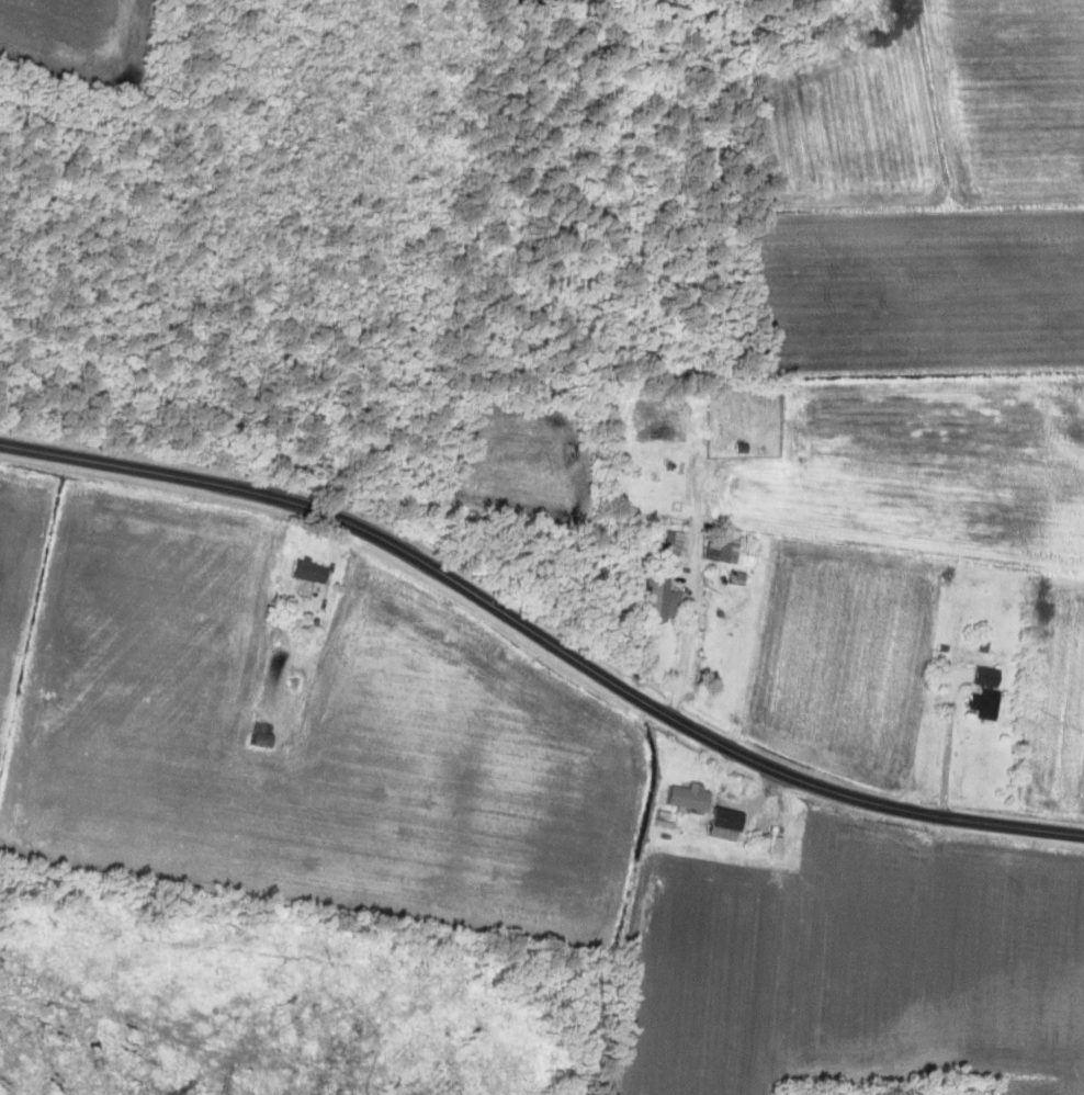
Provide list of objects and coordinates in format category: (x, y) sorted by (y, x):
building: (671, 544)
building: (726, 551)
building: (307, 571)
building: (659, 598)
road: (543, 637)
building: (295, 681)
building: (983, 693)
building: (260, 734)
building: (687, 797)
building: (723, 824)

